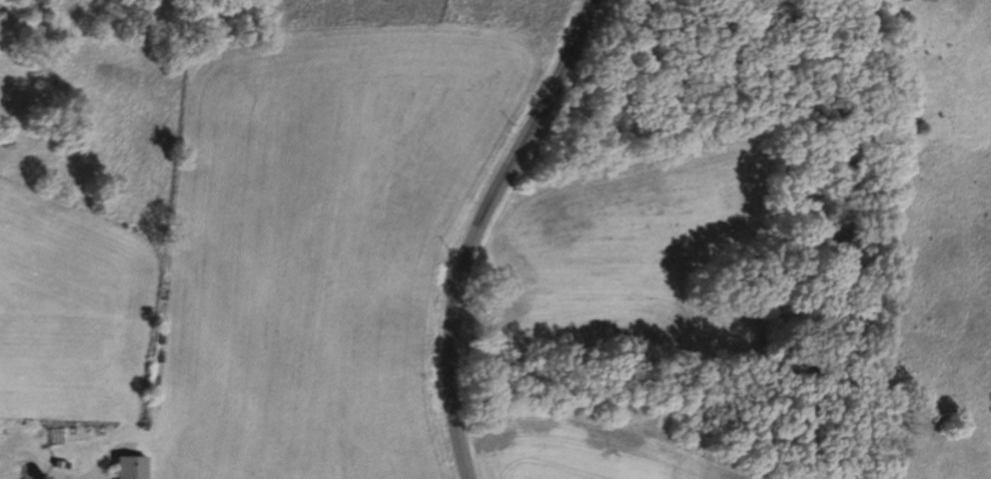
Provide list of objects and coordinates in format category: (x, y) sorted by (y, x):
road: (481, 228)

